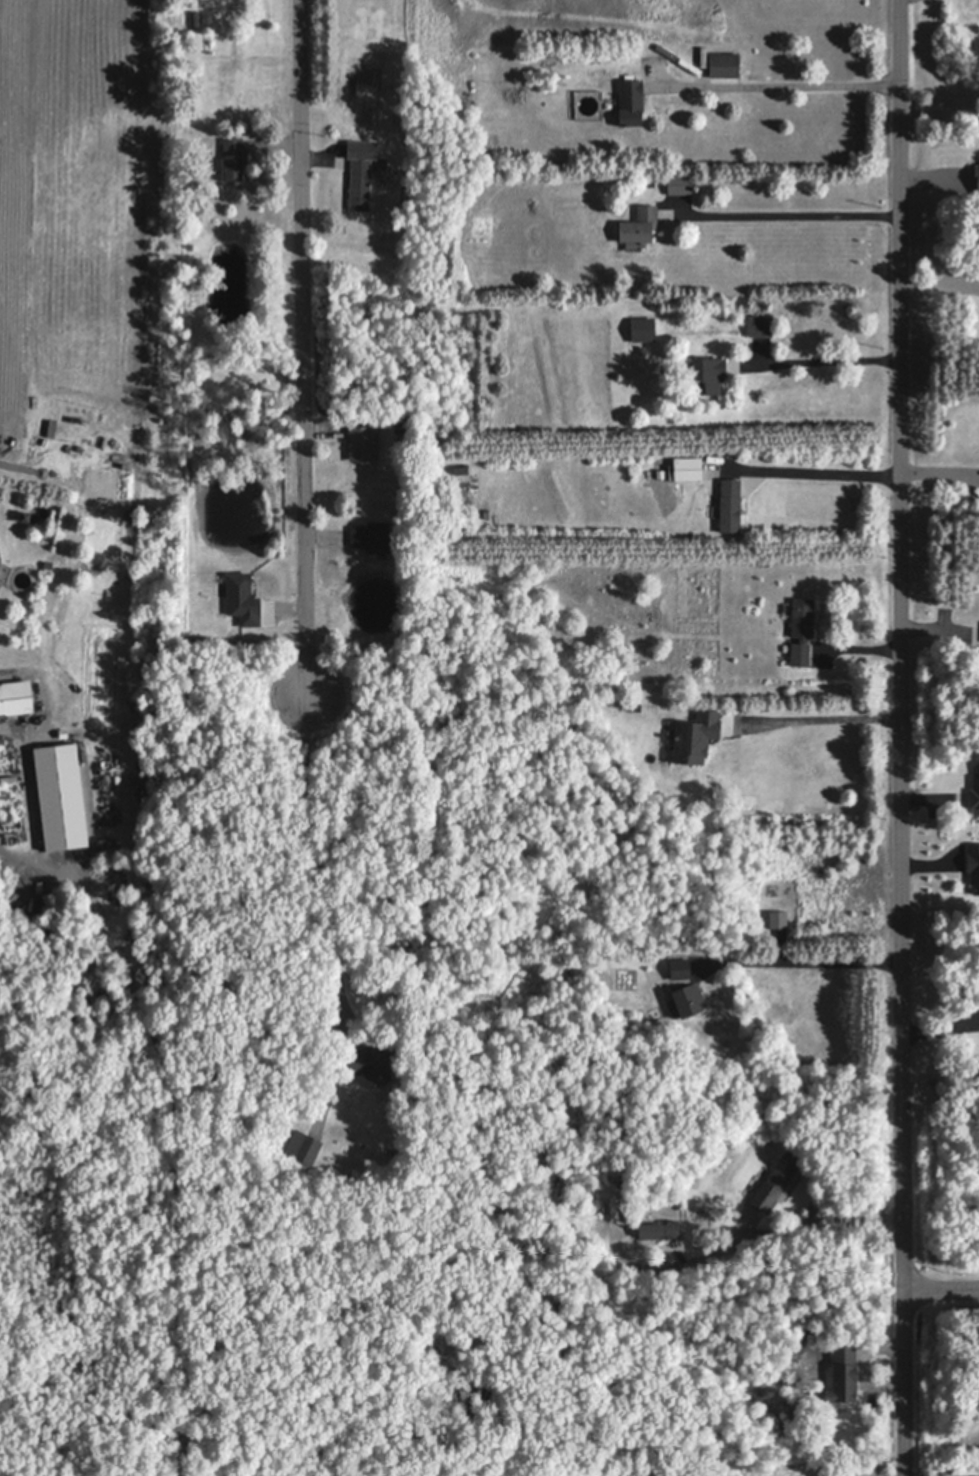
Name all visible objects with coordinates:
building: (197, 17)
building: (725, 64)
road: (777, 88)
building: (631, 102)
building: (380, 115)
building: (234, 157)
building: (361, 172)
building: (977, 174)
building: (680, 182)
building: (404, 206)
road: (789, 216)
building: (641, 224)
building: (967, 253)
building: (761, 325)
building: (644, 328)
road: (303, 348)
building: (644, 350)
road: (824, 363)
building: (708, 374)
building: (391, 386)
building: (364, 442)
building: (689, 468)
building: (462, 469)
road: (821, 474)
building: (731, 504)
building: (26, 513)
building: (374, 536)
building: (0, 560)
building: (49, 563)
building: (241, 601)
building: (803, 629)
building: (16, 696)
building: (41, 699)
building: (636, 706)
road: (823, 721)
building: (698, 736)
road: (902, 737)
building: (10, 778)
building: (975, 790)
building: (62, 795)
building: (974, 866)
road: (325, 902)
building: (779, 919)
road: (808, 965)
building: (681, 967)
building: (689, 999)
building: (372, 1059)
building: (304, 1146)
building: (776, 1179)
building: (631, 1213)
building: (661, 1228)
road: (941, 1287)
building: (844, 1373)

